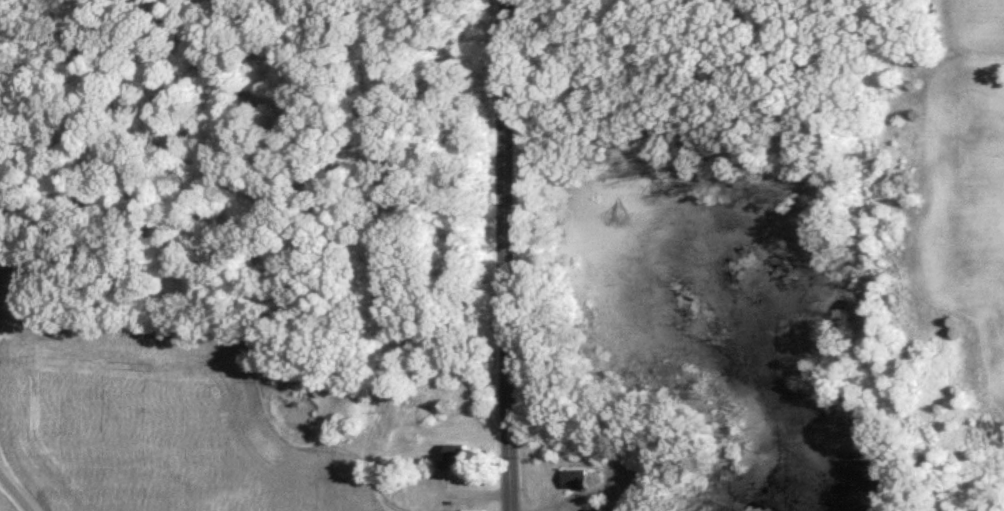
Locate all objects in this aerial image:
road: (505, 255)
building: (458, 464)
building: (580, 487)
road: (12, 498)

